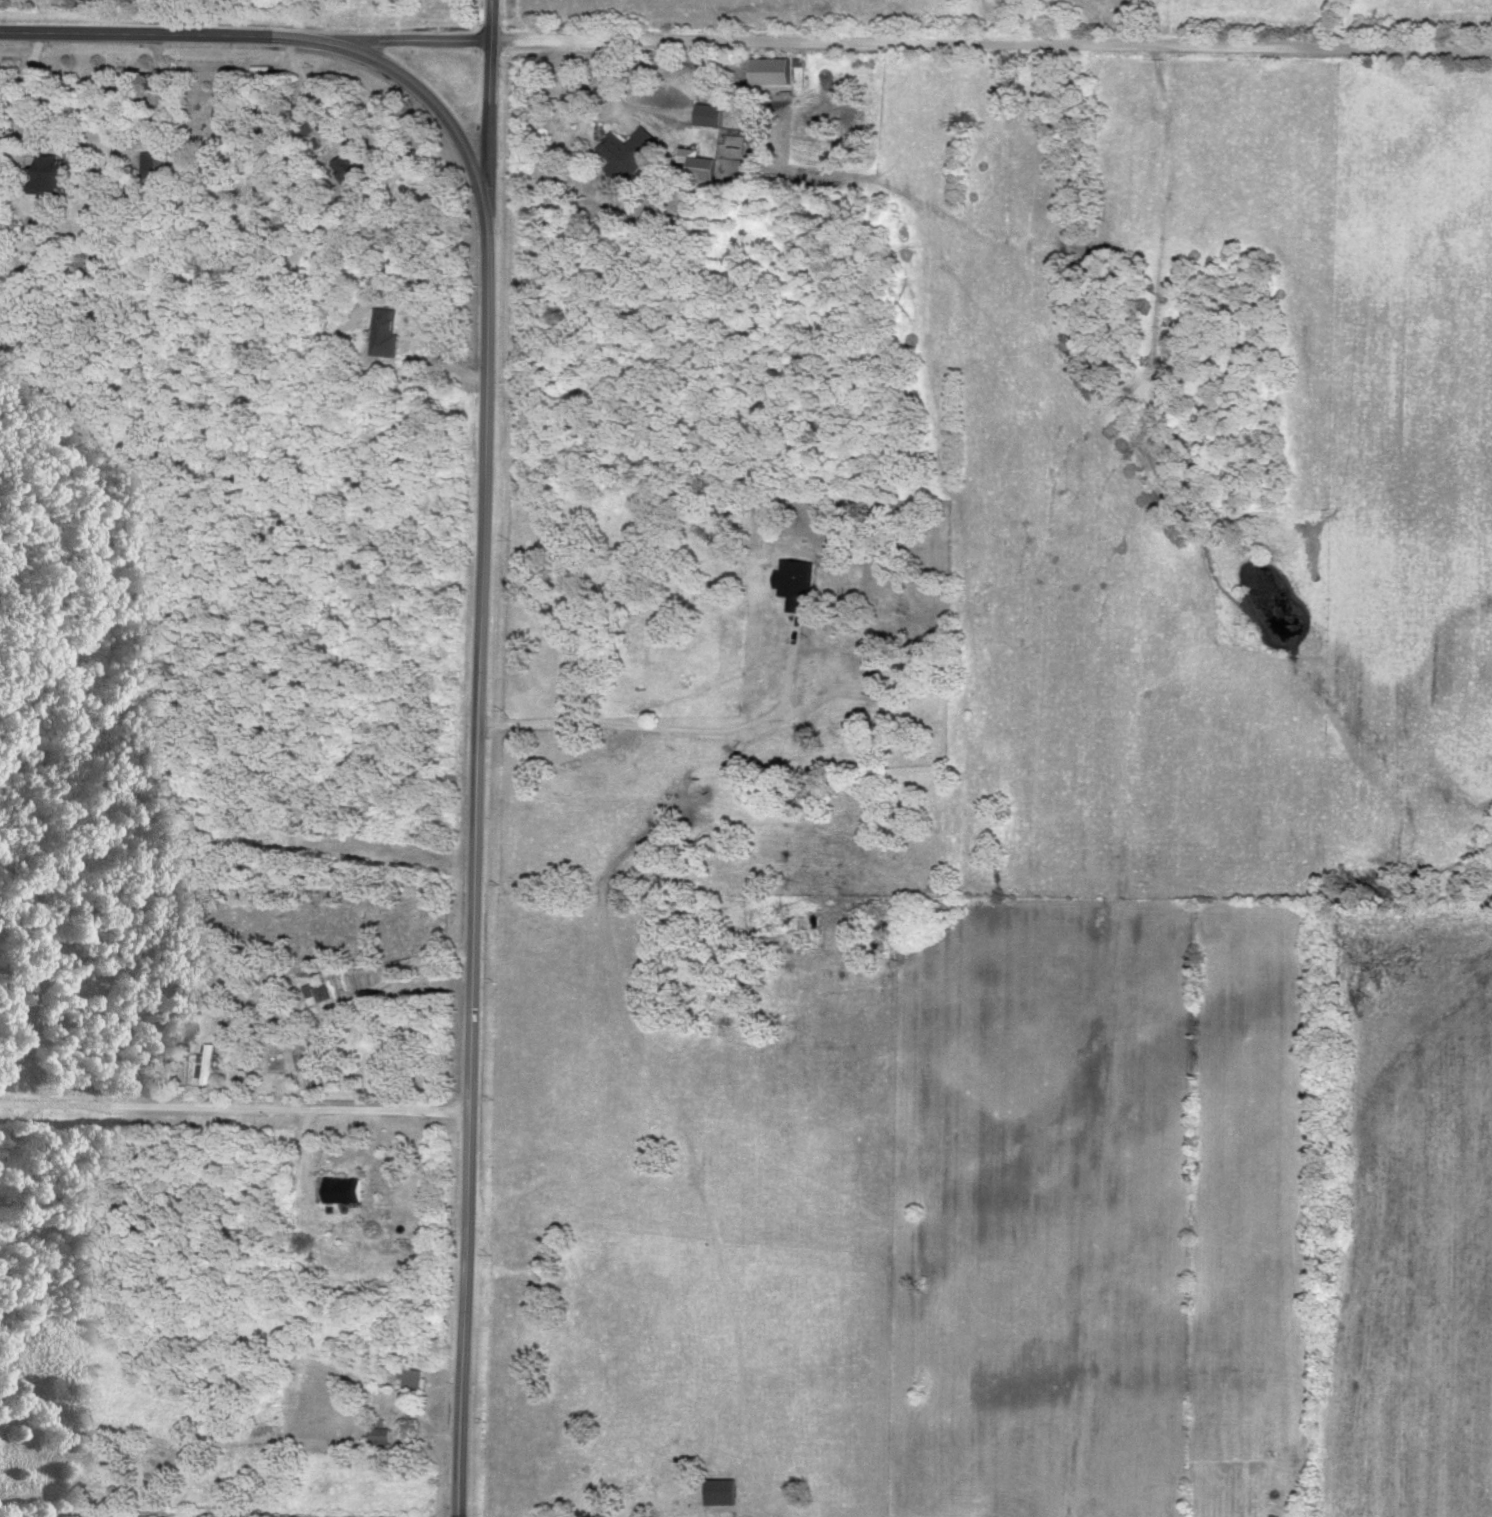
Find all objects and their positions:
road: (924, 47)
road: (490, 79)
road: (307, 100)
road: (617, 107)
building: (703, 117)
road: (110, 139)
building: (625, 151)
building: (695, 168)
building: (339, 170)
building: (43, 173)
building: (378, 333)
road: (476, 577)
building: (680, 683)
road: (672, 735)
building: (314, 994)
road: (352, 1000)
building: (14, 1029)
road: (233, 1111)
road: (14, 1126)
building: (338, 1191)
building: (407, 1380)
building: (375, 1437)
building: (716, 1493)
road: (184, 1515)

